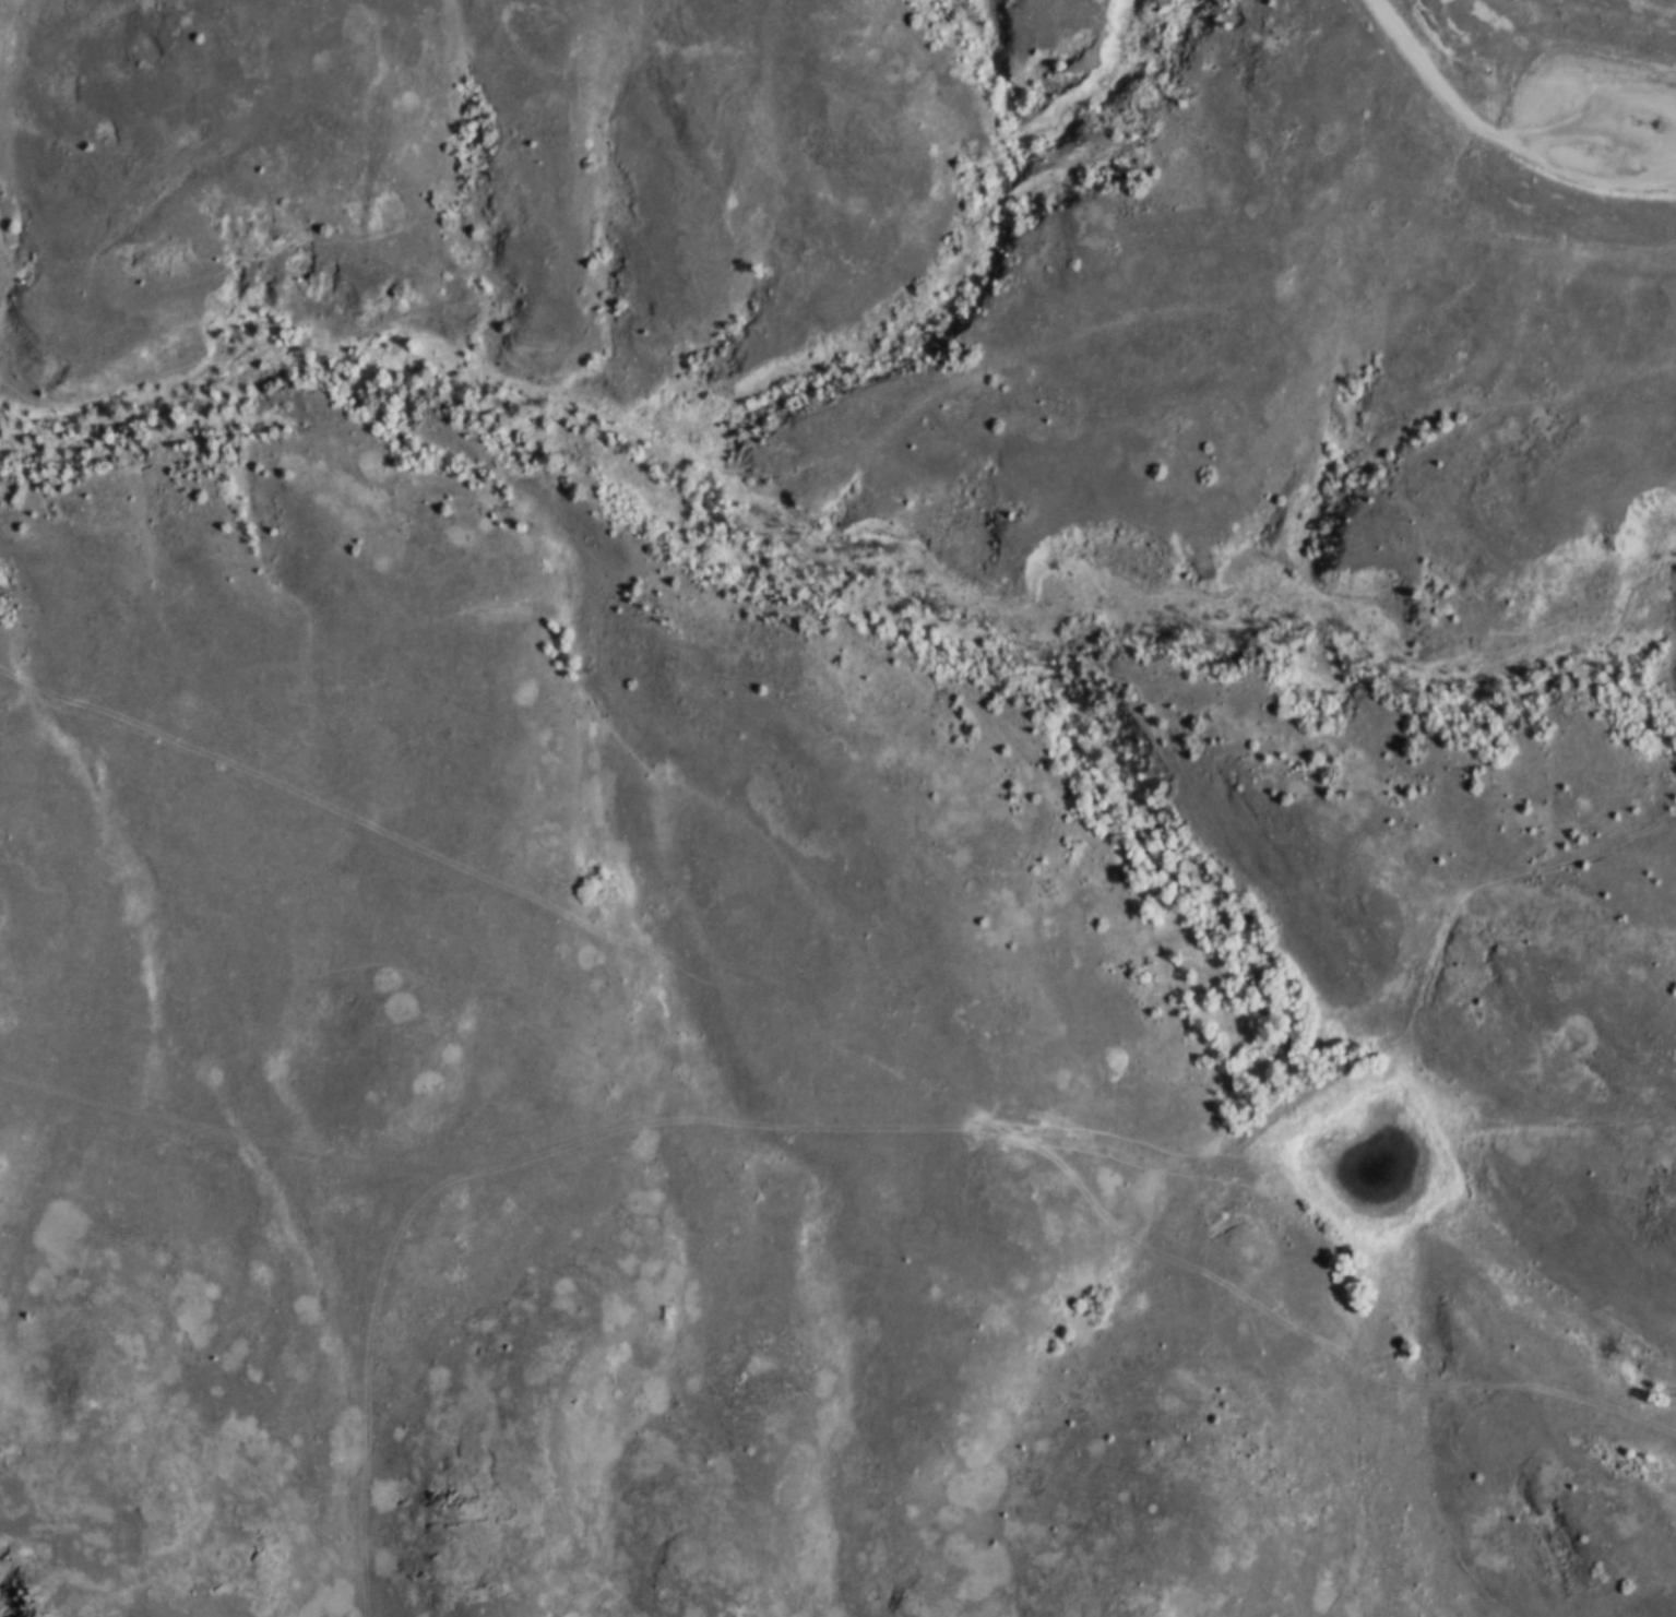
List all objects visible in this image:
road: (1443, 93)
road: (1606, 98)
petroleum well: (1643, 120)
road: (1612, 139)

